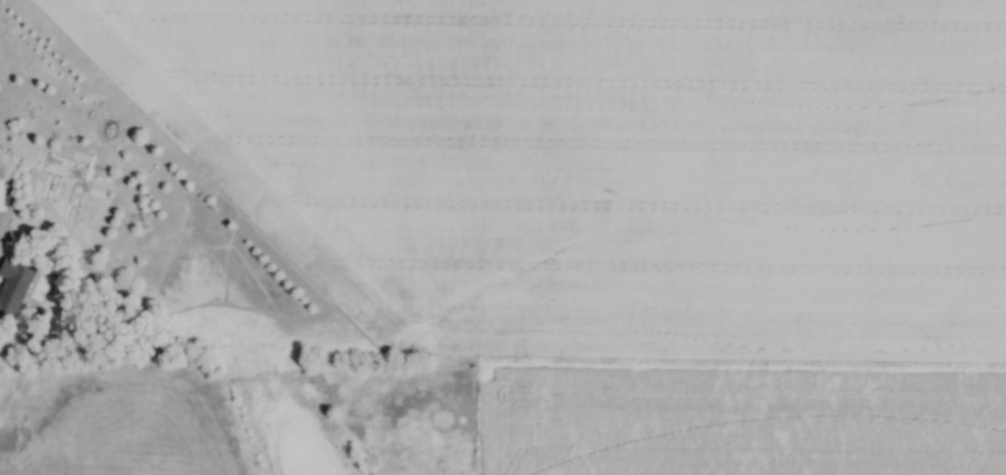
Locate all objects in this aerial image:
building: (12, 282)

